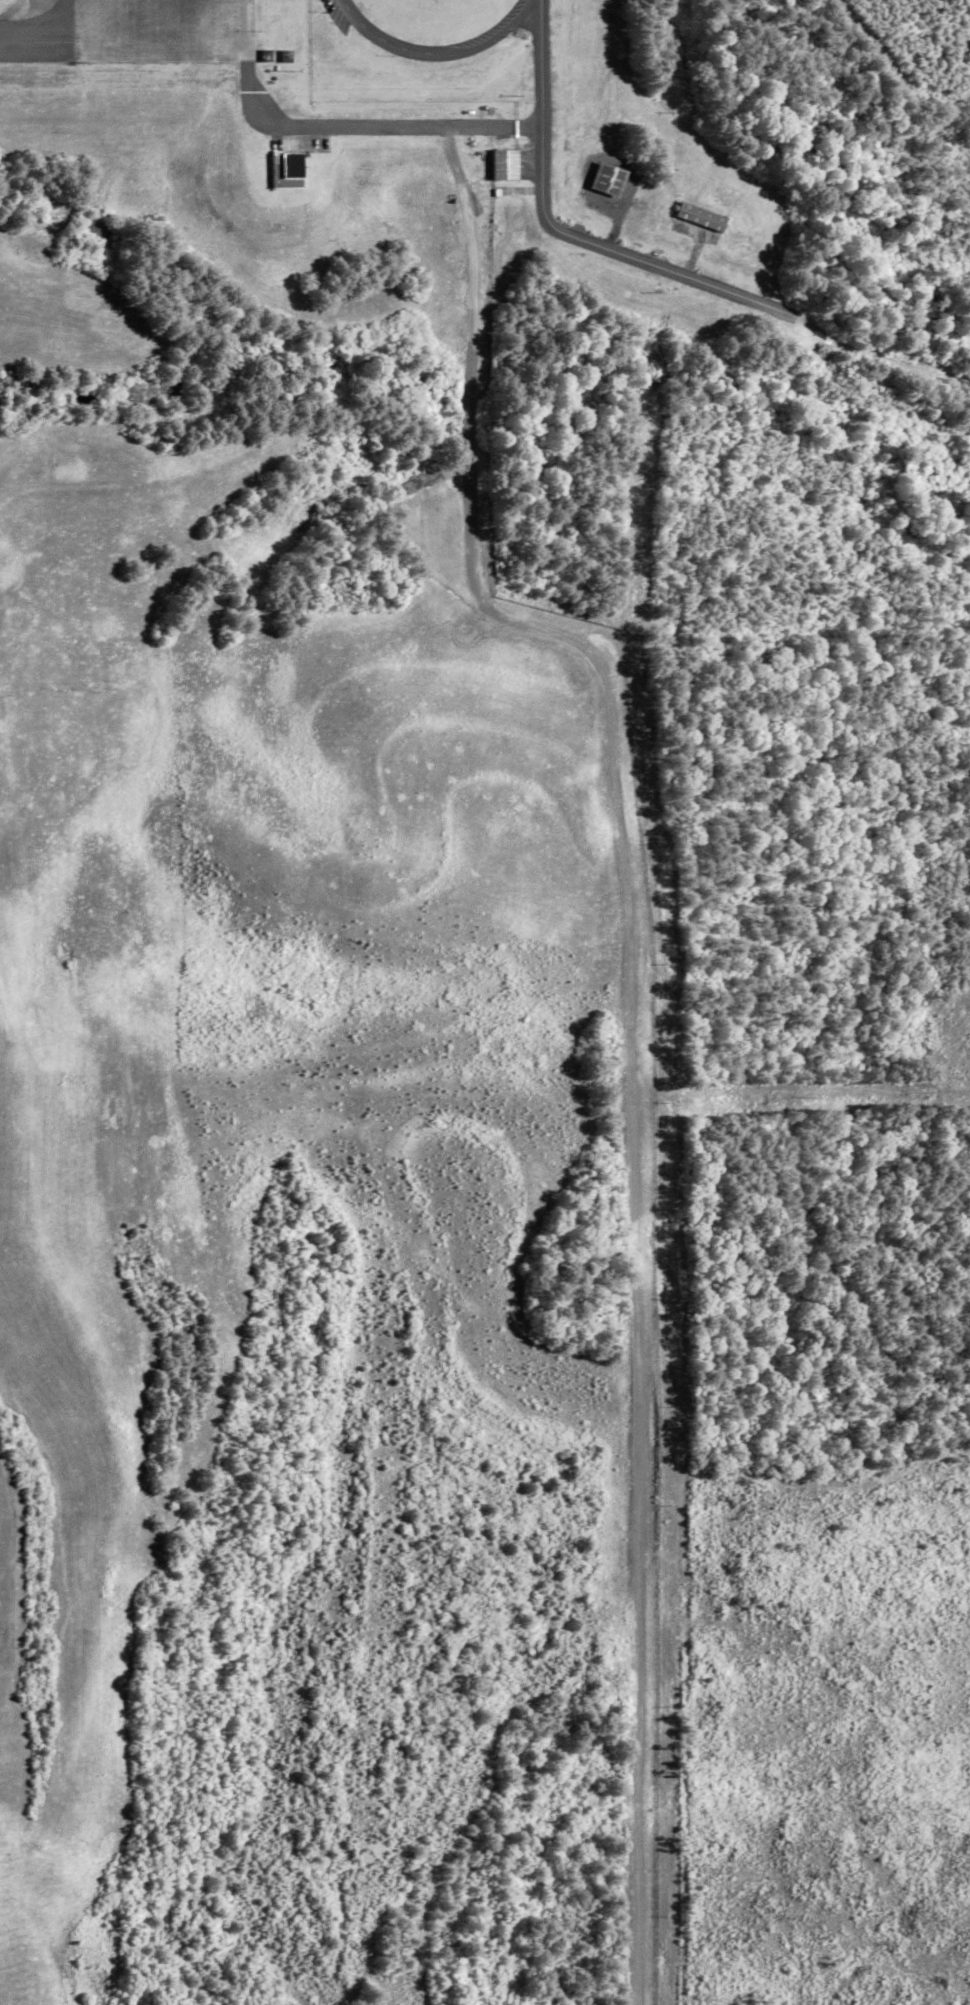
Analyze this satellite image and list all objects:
road: (541, 0)
parking lot: (339, 15)
airport apron: (145, 31)
road: (505, 32)
airport taxiway: (16, 43)
road: (394, 45)
road: (370, 126)
building: (503, 164)
building: (284, 170)
building: (607, 180)
building: (700, 217)
road: (566, 234)
road: (807, 328)
road: (633, 1023)

